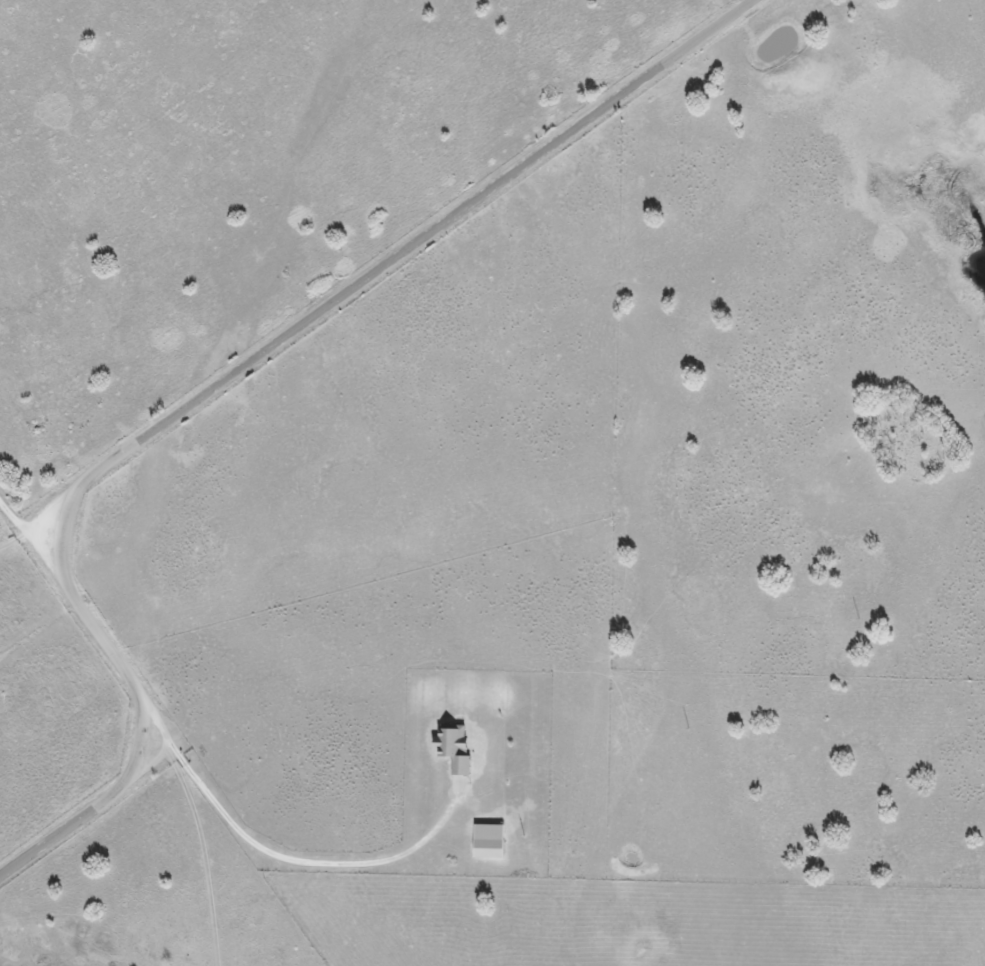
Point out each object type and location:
road: (221, 381)
road: (33, 534)
building: (489, 841)

